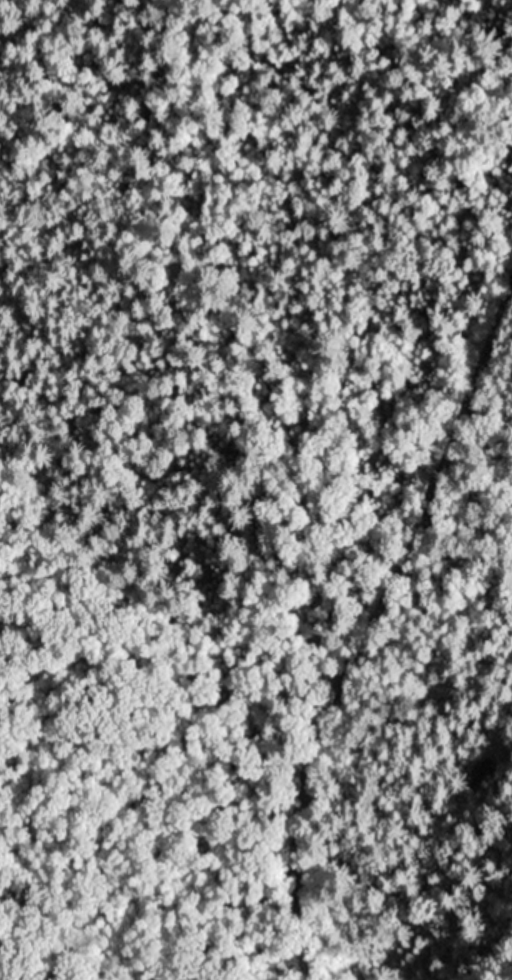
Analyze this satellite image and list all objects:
road: (371, 637)

